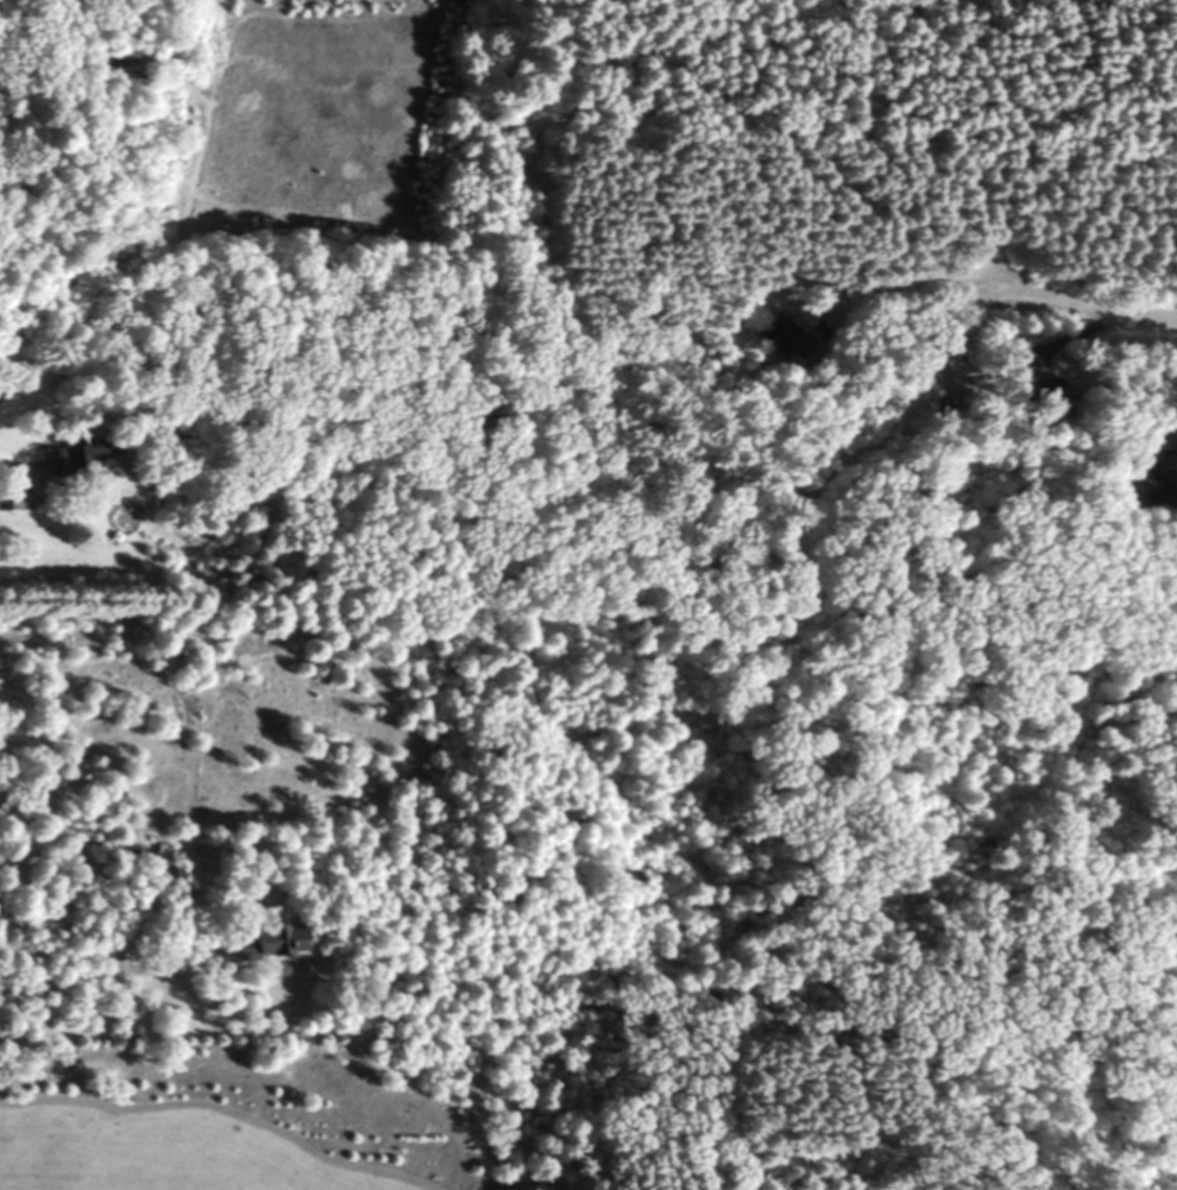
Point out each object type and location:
road: (911, 279)
road: (1094, 304)
building: (779, 333)
building: (73, 460)
building: (1148, 478)
building: (126, 516)
building: (166, 877)
building: (263, 940)
road: (106, 970)

